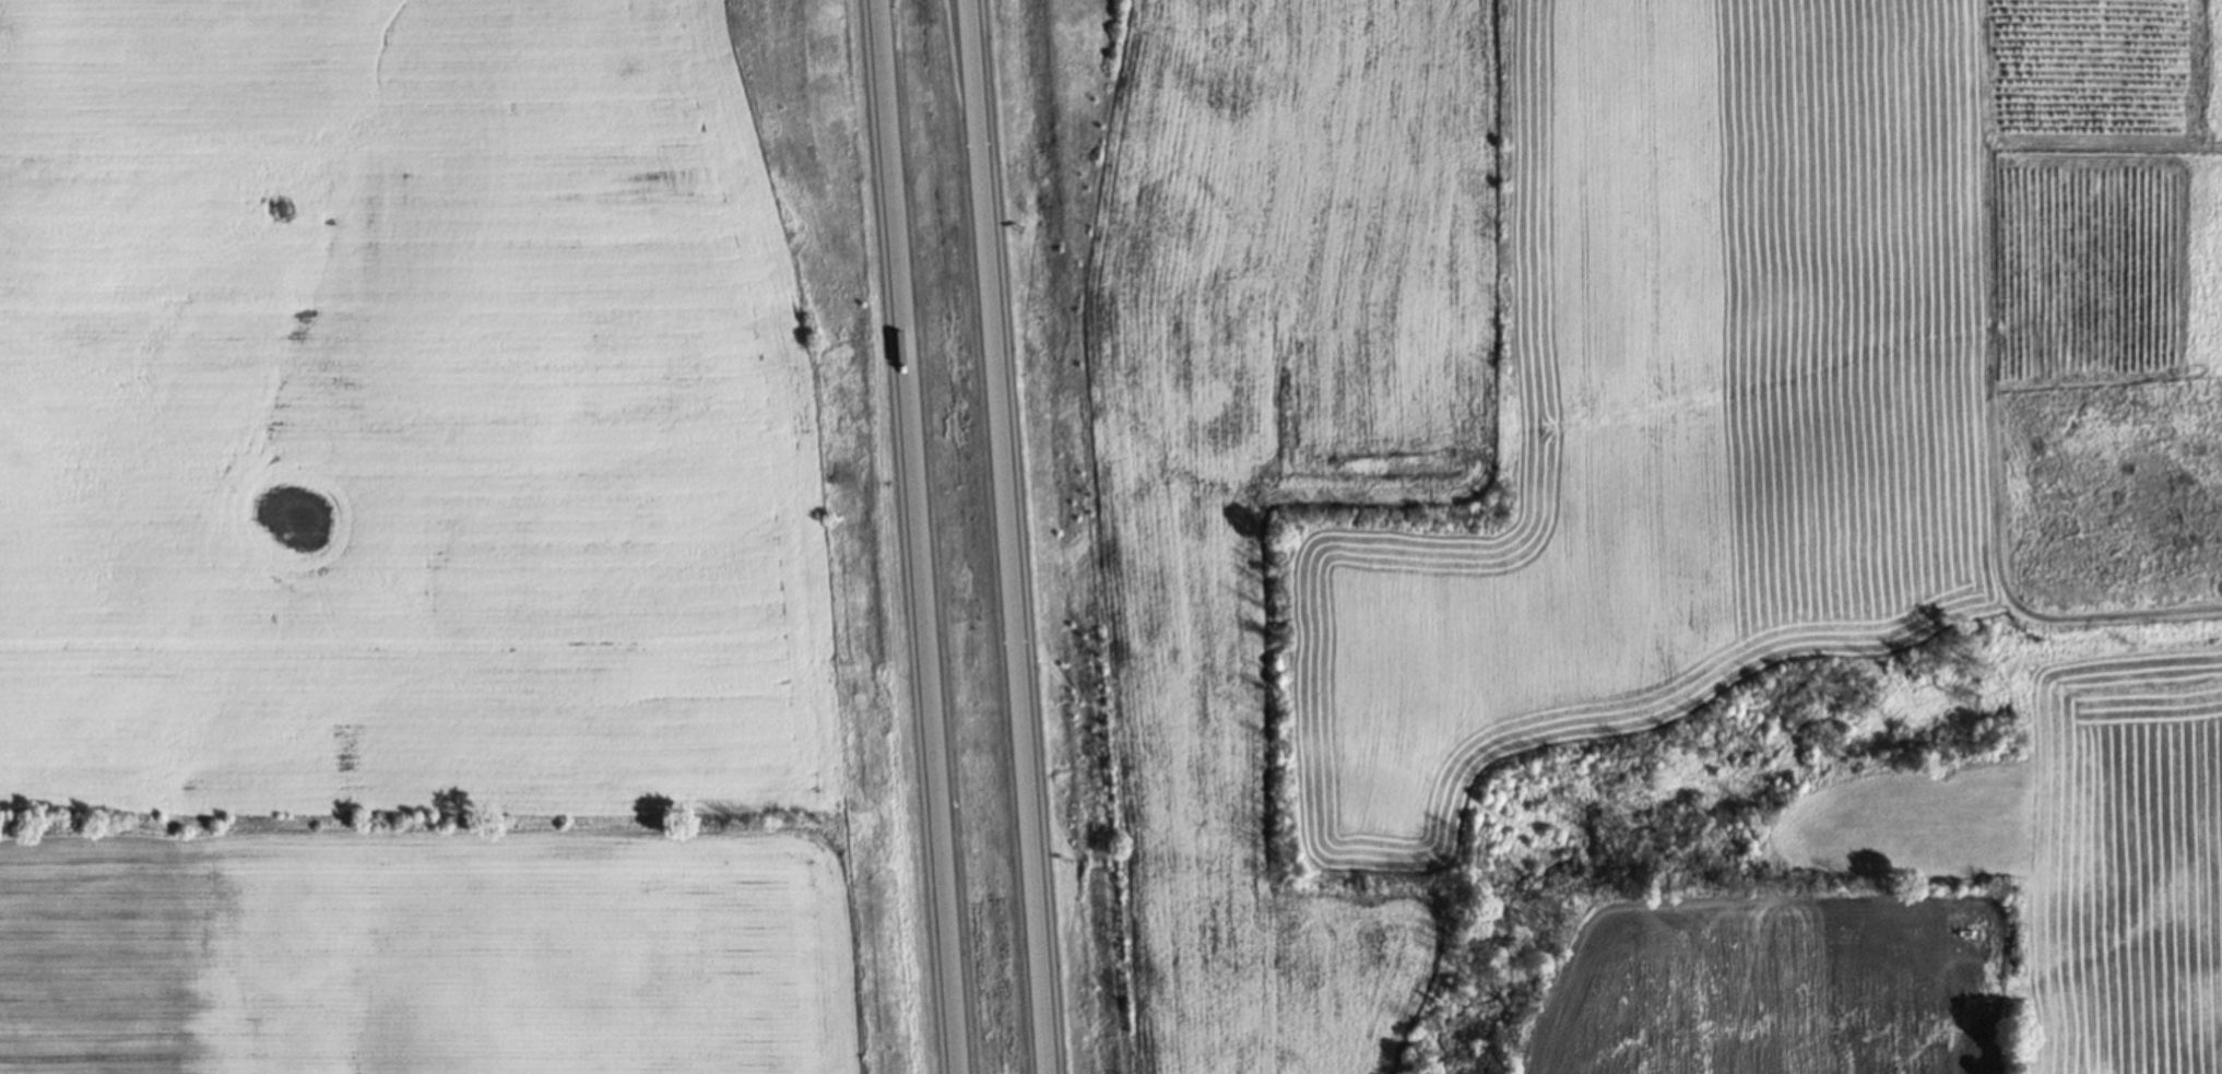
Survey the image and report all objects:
road: (921, 536)
road: (1018, 536)

